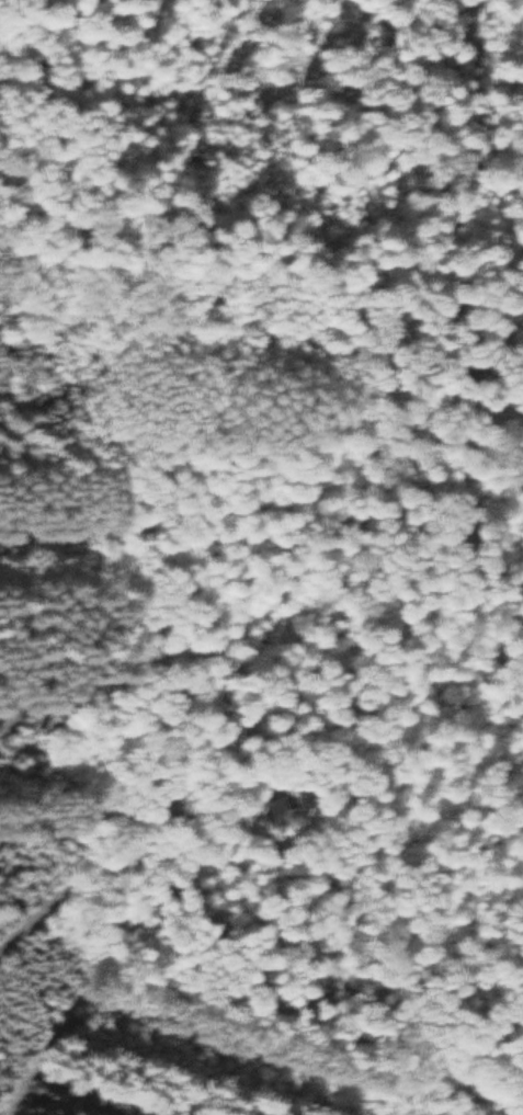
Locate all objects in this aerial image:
road: (90, 784)

